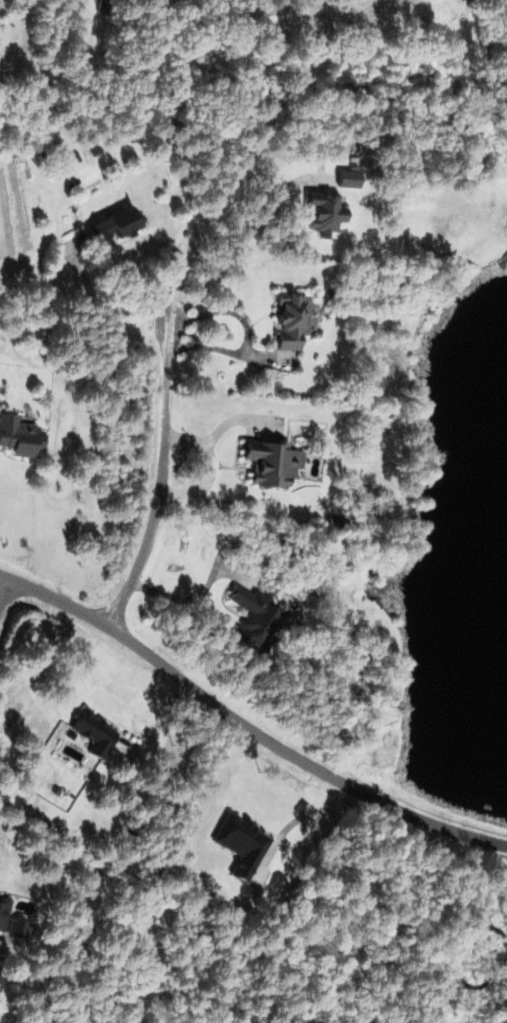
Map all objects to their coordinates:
building: (103, 6)
road: (155, 46)
building: (348, 178)
building: (323, 212)
building: (114, 225)
road: (236, 242)
road: (110, 309)
building: (291, 320)
building: (19, 436)
building: (272, 462)
road: (159, 479)
road: (3, 584)
road: (55, 599)
building: (255, 619)
building: (94, 733)
road: (296, 759)
building: (241, 844)
building: (3, 912)
building: (20, 928)

